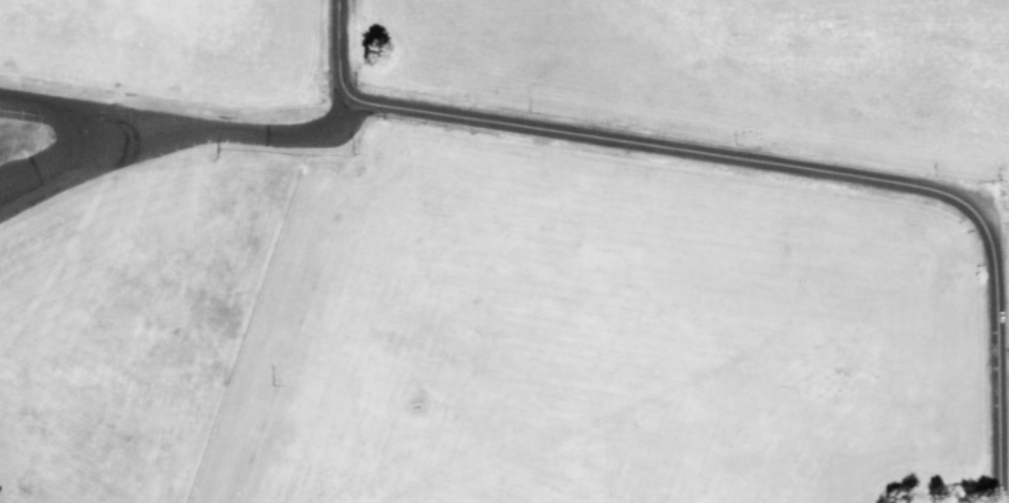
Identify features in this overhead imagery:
road: (335, 48)
road: (183, 123)
road: (668, 146)
road: (84, 159)
crop: (562, 165)
road: (995, 362)
crop: (405, 400)

